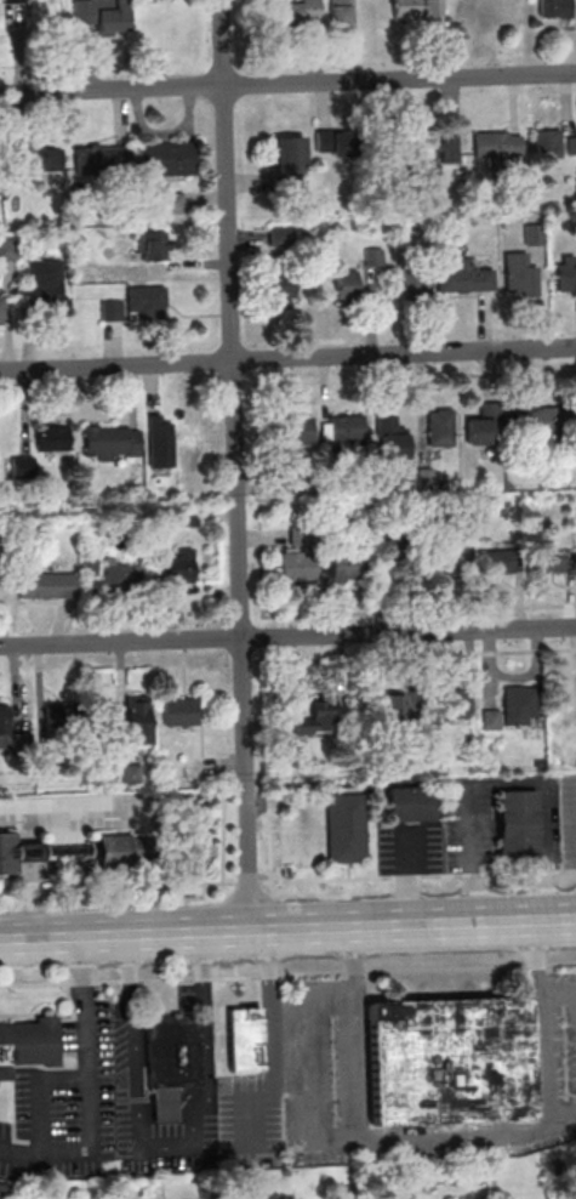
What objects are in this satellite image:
building: (13, 1)
building: (554, 8)
building: (417, 10)
building: (296, 11)
building: (340, 12)
building: (103, 15)
road: (287, 83)
building: (333, 142)
building: (547, 143)
building: (497, 144)
building: (572, 147)
building: (434, 148)
building: (98, 159)
building: (166, 159)
building: (287, 159)
building: (39, 160)
building: (172, 203)
building: (281, 237)
building: (156, 245)
building: (7, 246)
building: (518, 275)
building: (565, 275)
building: (463, 278)
building: (346, 284)
building: (411, 284)
building: (45, 286)
building: (280, 289)
building: (142, 299)
building: (1, 307)
building: (112, 309)
road: (287, 359)
building: (537, 422)
building: (483, 426)
building: (438, 427)
building: (342, 428)
building: (296, 430)
building: (52, 438)
building: (390, 439)
building: (160, 441)
building: (112, 442)
building: (189, 444)
building: (22, 465)
road: (235, 466)
building: (495, 561)
building: (546, 561)
building: (295, 566)
building: (347, 566)
building: (179, 567)
building: (110, 573)
building: (47, 585)
road: (287, 638)
building: (455, 704)
building: (520, 705)
building: (394, 709)
building: (179, 711)
building: (65, 714)
building: (319, 716)
building: (137, 720)
building: (4, 723)
building: (563, 724)
building: (130, 773)
building: (409, 803)
road: (74, 819)
building: (518, 824)
building: (344, 828)
road: (223, 830)
road: (27, 833)
road: (269, 833)
building: (118, 849)
road: (28, 852)
building: (17, 853)
road: (287, 881)
road: (30, 900)
road: (287, 931)
road: (287, 976)
building: (246, 1039)
road: (133, 1042)
building: (28, 1044)
road: (81, 1044)
road: (272, 1045)
road: (212, 1049)
building: (451, 1061)
building: (173, 1062)
road: (450, 1140)
road: (166, 1147)
road: (42, 1150)

